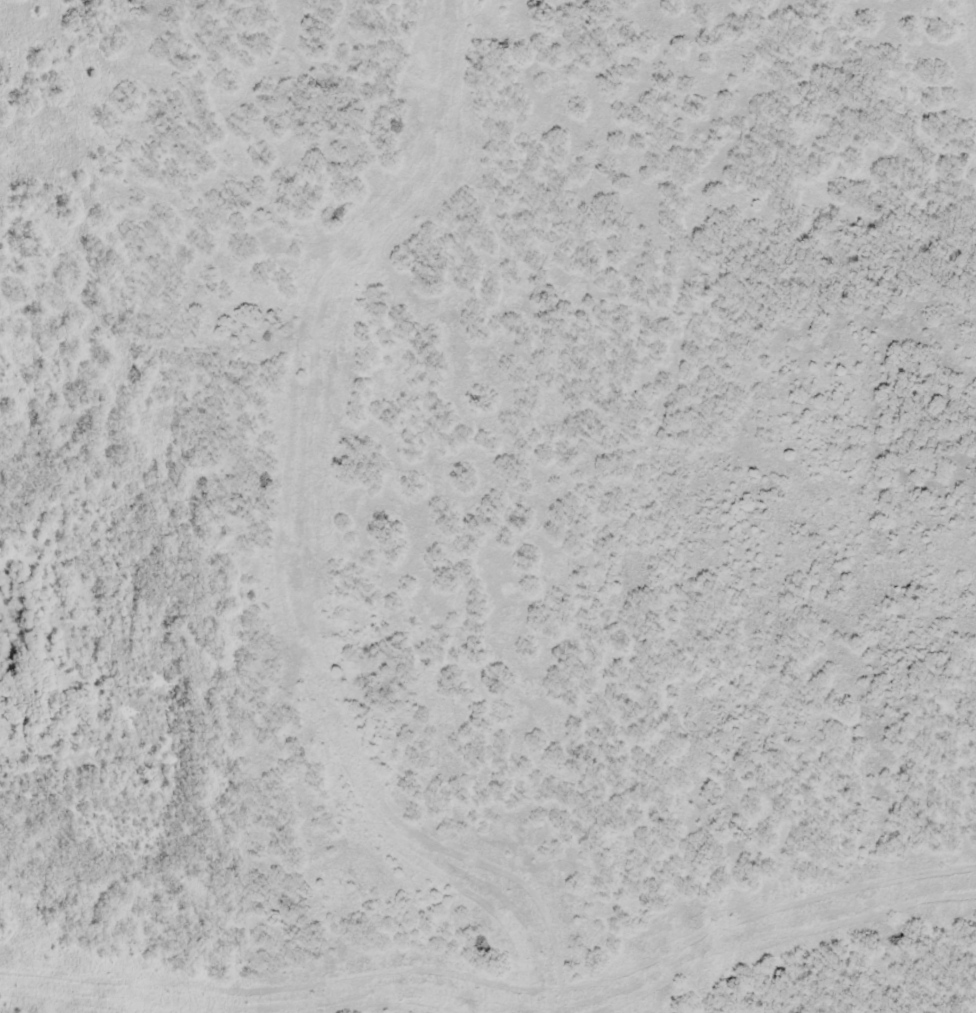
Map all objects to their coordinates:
road: (954, 93)

